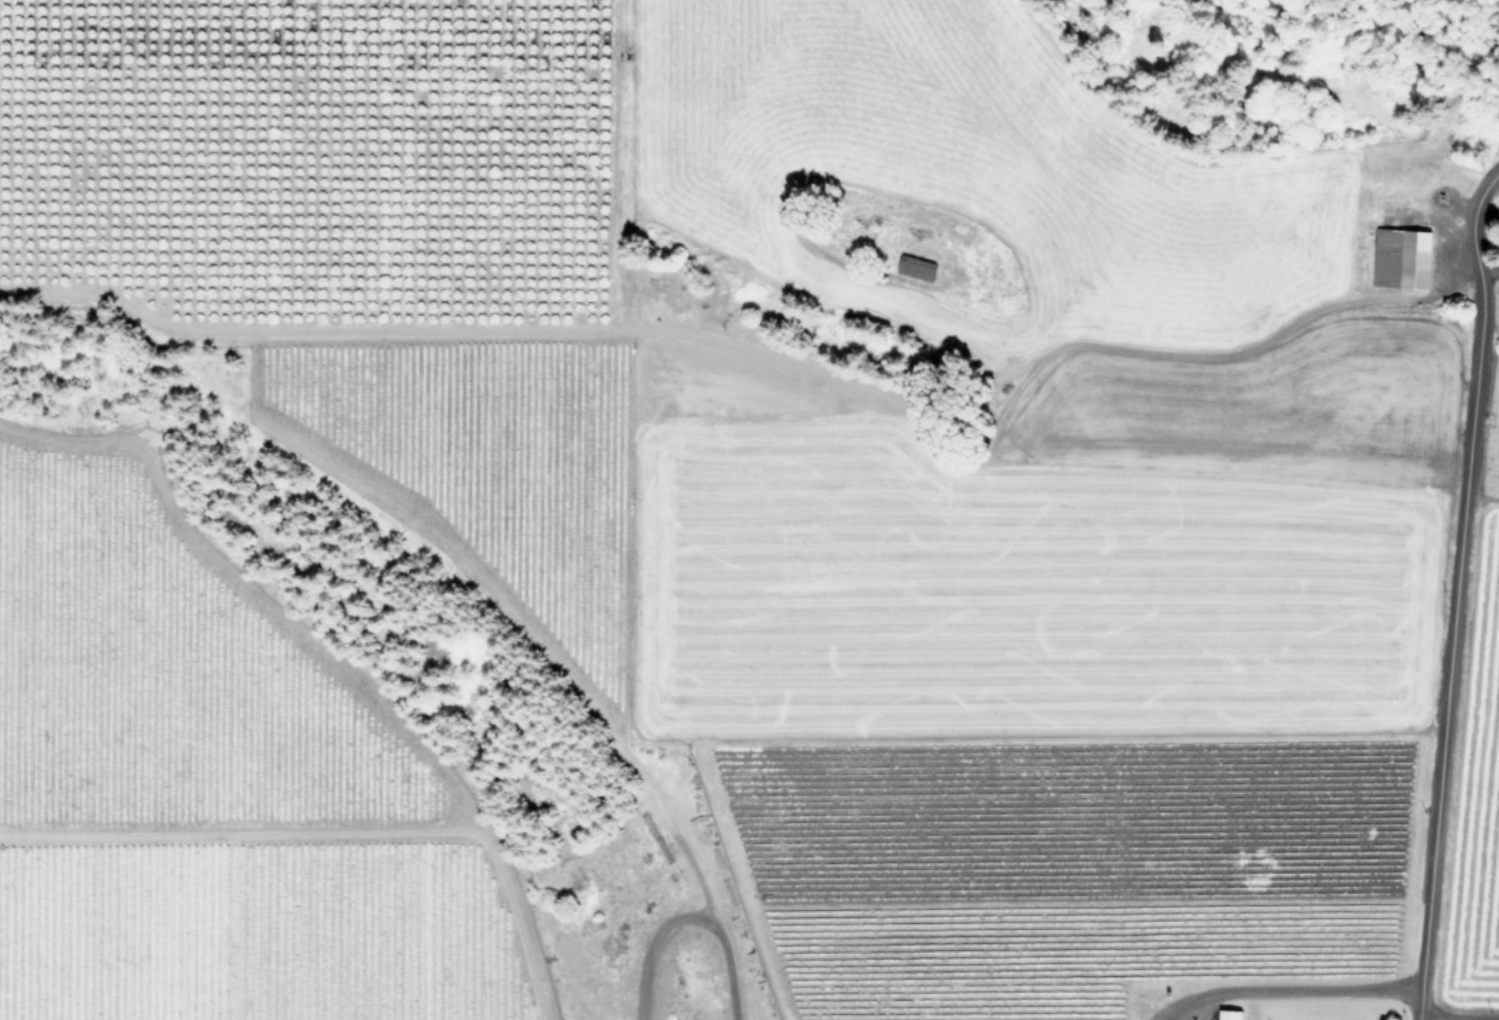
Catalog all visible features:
building: (1399, 258)
building: (921, 267)
road: (1488, 269)
crop: (951, 508)
road: (1453, 589)
crop: (1475, 746)
crop: (212, 784)
road: (1285, 986)
road: (1457, 1017)

